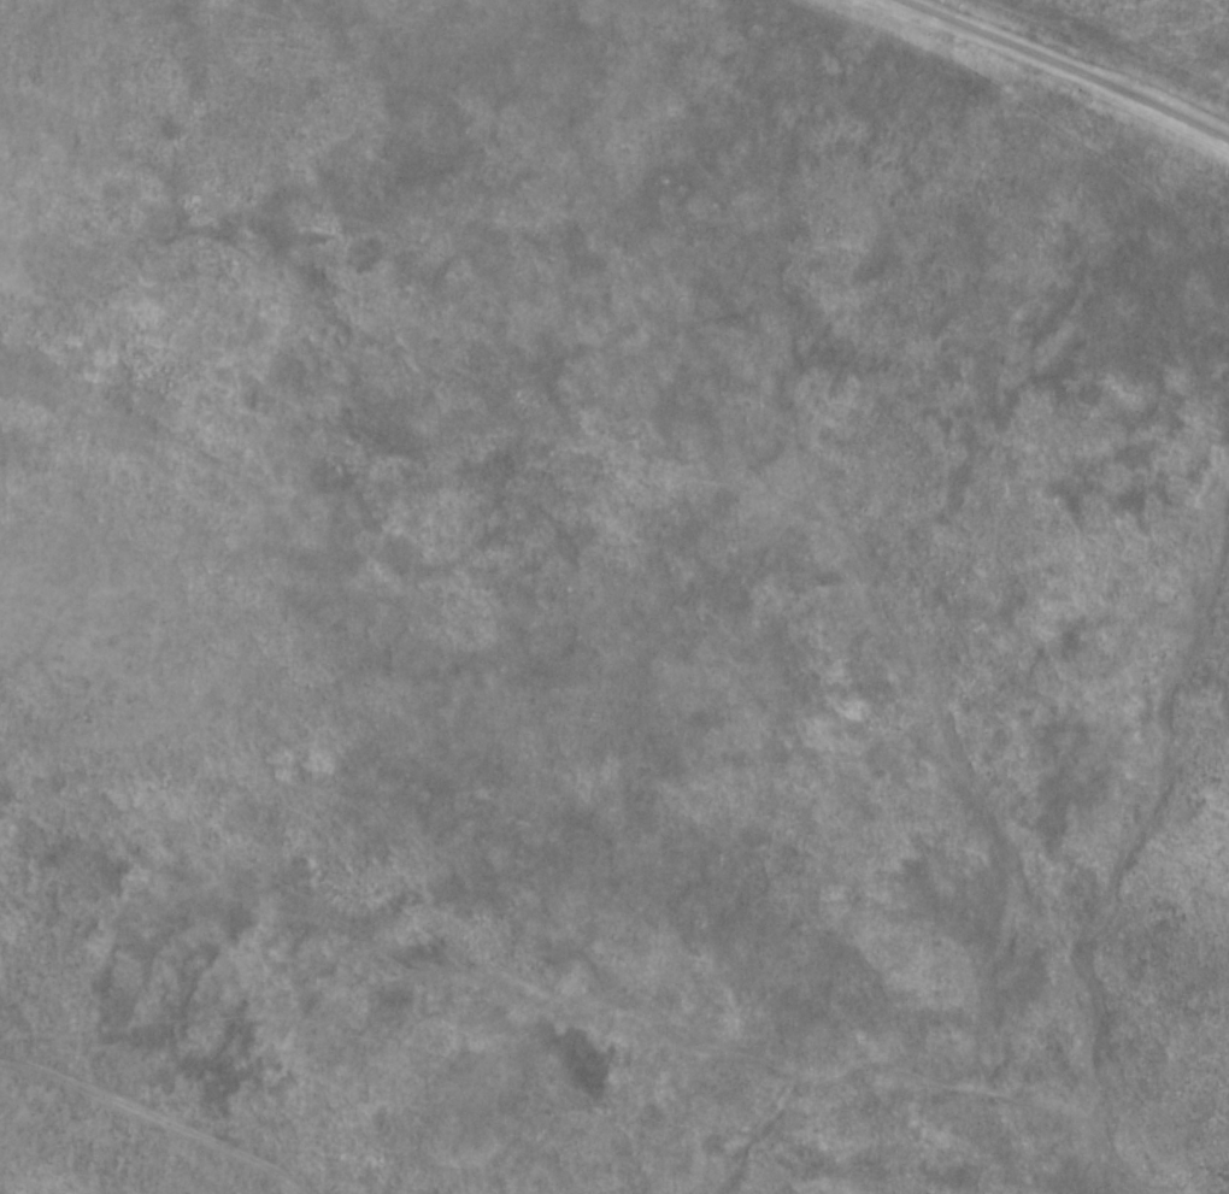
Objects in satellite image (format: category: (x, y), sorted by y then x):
road: (1062, 66)

